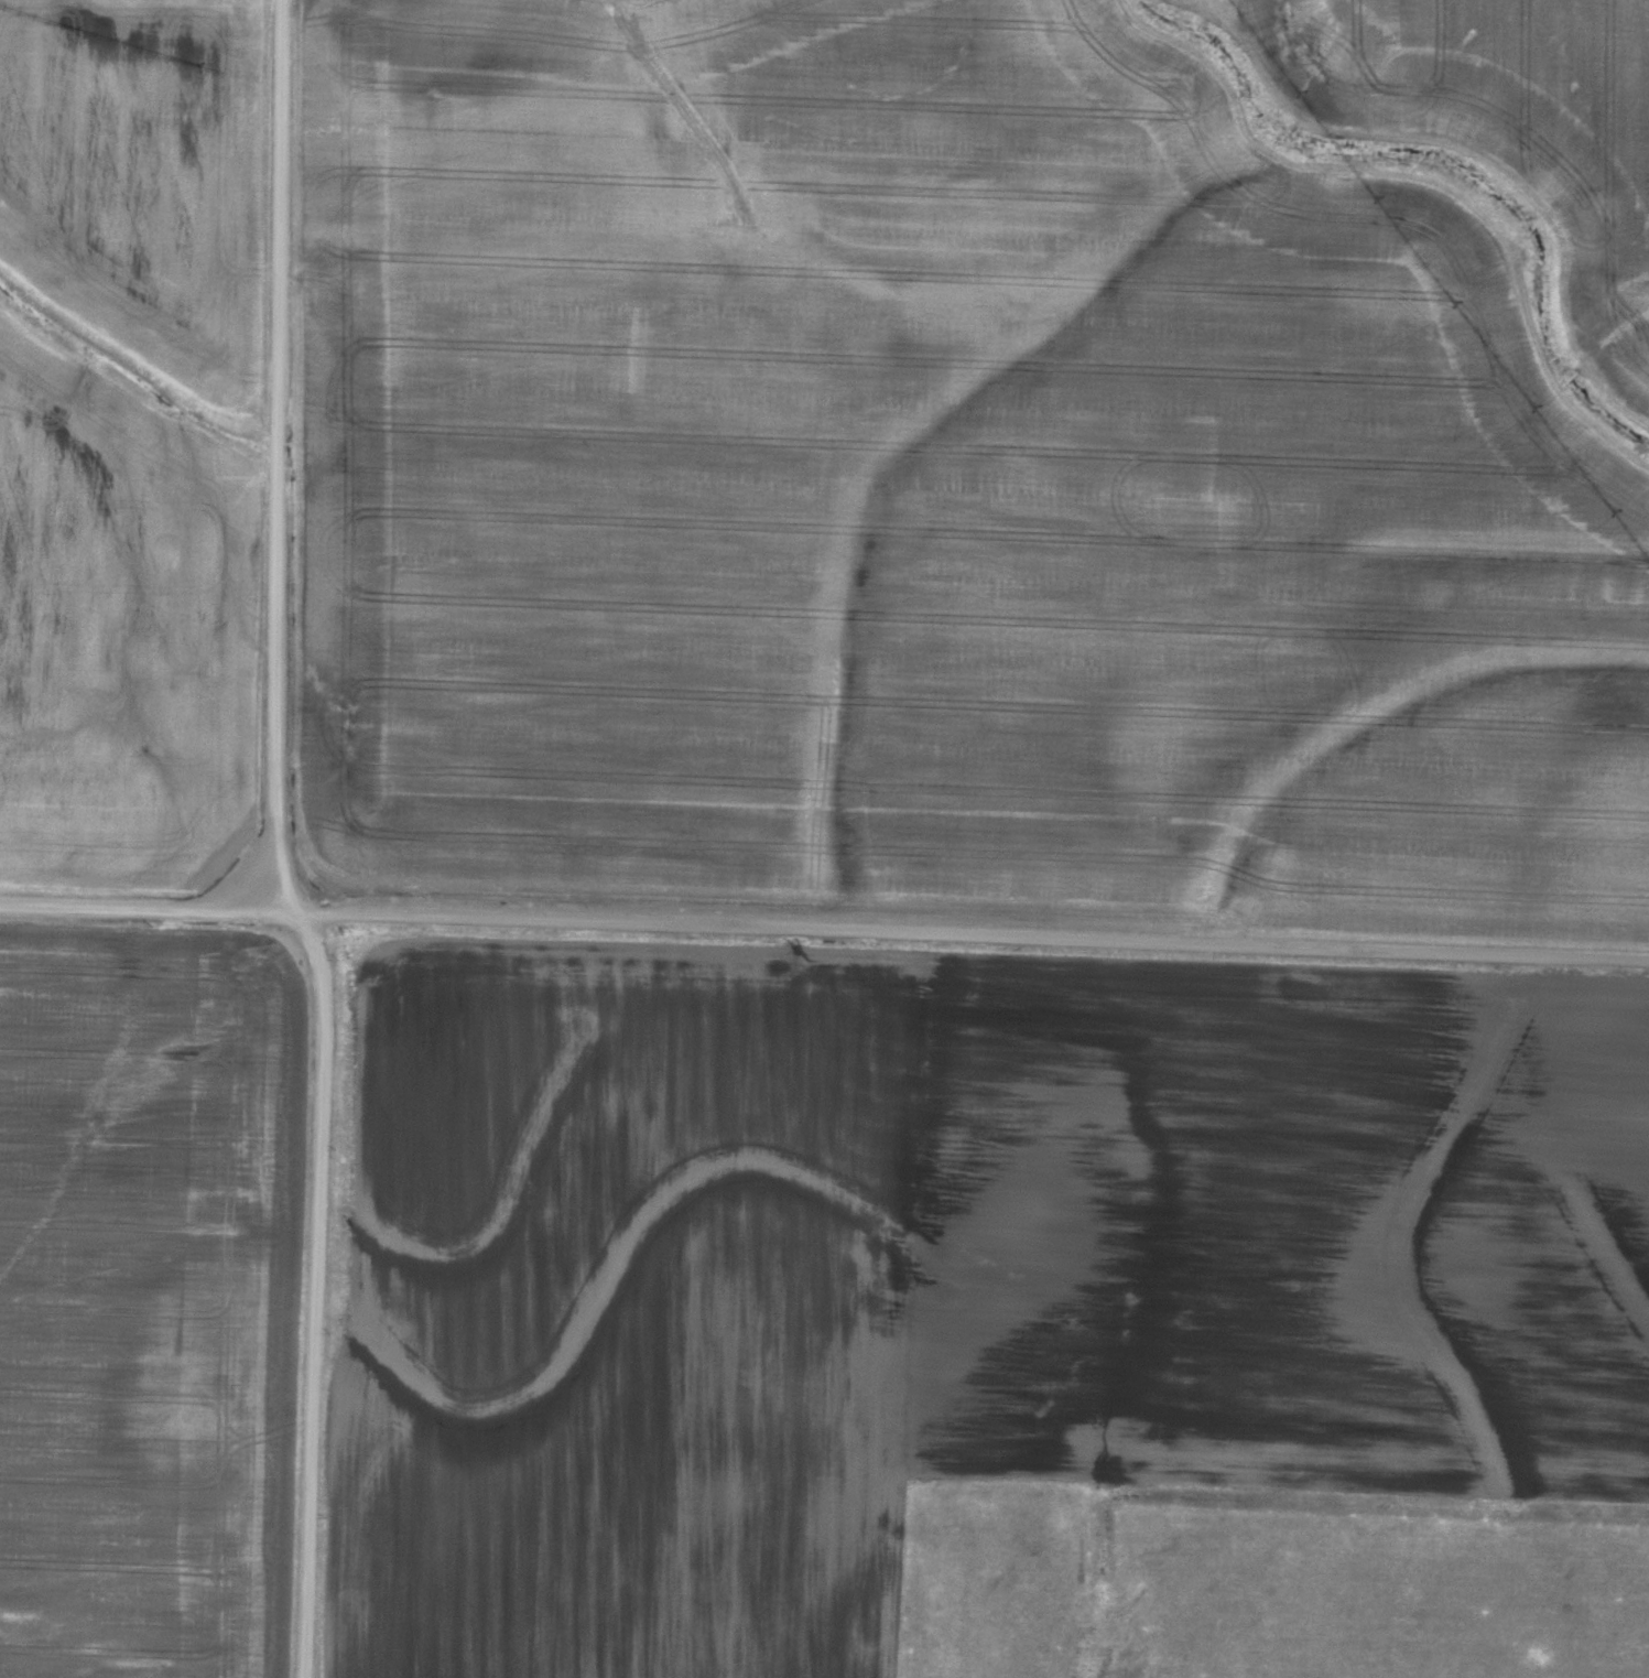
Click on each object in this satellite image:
road: (280, 454)
road: (140, 907)
road: (976, 933)
road: (317, 1280)

